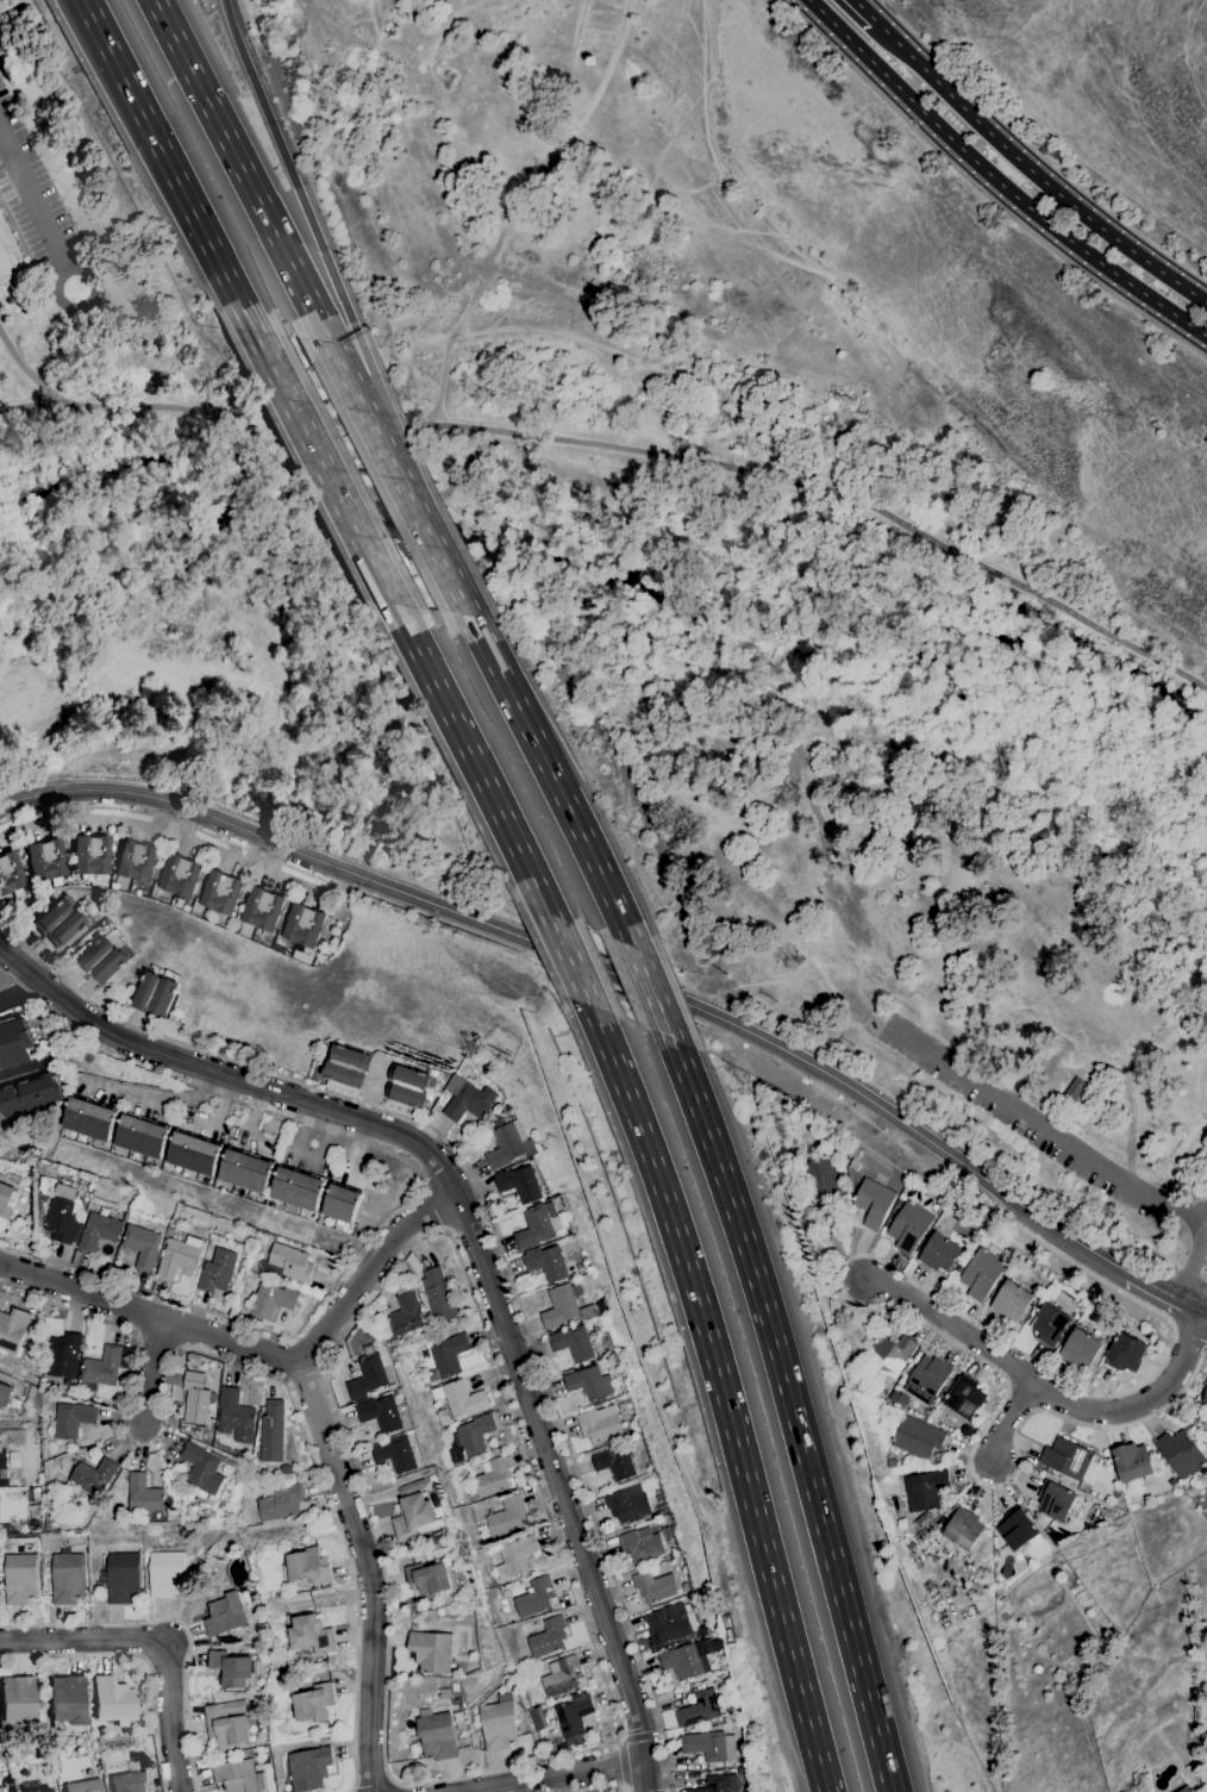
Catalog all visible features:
road: (868, 13)
road: (167, 166)
road: (243, 170)
road: (289, 173)
road: (1037, 174)
road: (998, 181)
parking lot: (43, 192)
road: (983, 192)
road: (14, 195)
road: (33, 198)
road: (83, 307)
road: (19, 355)
road: (351, 383)
road: (370, 383)
road: (630, 448)
road: (323, 467)
road: (420, 519)
park: (167, 526)
river: (649, 591)
road: (470, 758)
road: (554, 779)
building: (92, 856)
building: (136, 861)
building: (46, 862)
building: (11, 875)
building: (179, 875)
building: (148, 888)
building: (220, 892)
building: (261, 909)
building: (57, 923)
building: (302, 924)
road: (568, 959)
building: (102, 960)
road: (587, 964)
road: (651, 992)
road: (20, 994)
building: (155, 994)
building: (14, 1042)
building: (346, 1066)
building: (433, 1072)
road: (25, 1073)
building: (407, 1085)
building: (1075, 1087)
building: (30, 1095)
building: (468, 1099)
building: (89, 1117)
road: (1043, 1126)
building: (140, 1135)
building: (507, 1144)
building: (815, 1149)
building: (855, 1151)
building: (193, 1153)
building: (853, 1163)
building: (245, 1169)
building: (819, 1180)
building: (520, 1184)
building: (298, 1187)
road: (411, 1193)
building: (6, 1199)
building: (871, 1200)
building: (898, 1203)
building: (342, 1205)
road: (432, 1209)
building: (61, 1211)
road: (489, 1224)
building: (537, 1225)
building: (909, 1226)
building: (99, 1231)
road: (473, 1241)
building: (143, 1245)
building: (939, 1253)
building: (180, 1256)
building: (290, 1261)
road: (1189, 1261)
building: (548, 1263)
road: (1076, 1263)
building: (218, 1270)
building: (981, 1274)
road: (1162, 1292)
building: (438, 1294)
building: (271, 1300)
building: (1011, 1300)
building: (564, 1305)
building: (596, 1309)
road: (1205, 1310)
building: (404, 1315)
building: (1051, 1324)
building: (376, 1328)
building: (12, 1329)
building: (1108, 1338)
building: (575, 1343)
building: (1080, 1348)
road: (261, 1350)
building: (1125, 1351)
building: (423, 1354)
building: (63, 1355)
building: (446, 1356)
building: (887, 1357)
road: (240, 1366)
building: (104, 1367)
road: (152, 1370)
building: (367, 1376)
building: (927, 1378)
building: (589, 1381)
building: (1206, 1382)
road: (1046, 1387)
building: (30, 1391)
building: (396, 1391)
building: (878, 1393)
building: (5, 1394)
road: (723, 1394)
building: (893, 1395)
building: (964, 1397)
building: (1205, 1397)
building: (195, 1398)
building: (463, 1399)
road: (790, 1411)
building: (381, 1413)
building: (236, 1416)
road: (1007, 1418)
building: (71, 1419)
building: (1196, 1419)
building: (600, 1426)
building: (271, 1431)
building: (475, 1435)
building: (915, 1436)
building: (1180, 1453)
building: (395, 1454)
building: (2, 1457)
building: (1069, 1460)
building: (1132, 1461)
building: (614, 1462)
building: (890, 1462)
building: (205, 1467)
building: (90, 1476)
building: (492, 1476)
building: (4, 1480)
building: (925, 1488)
building: (145, 1493)
building: (1115, 1494)
building: (470, 1496)
building: (281, 1501)
building: (1055, 1501)
building: (627, 1504)
building: (662, 1507)
building: (1105, 1513)
building: (413, 1516)
building: (507, 1516)
building: (924, 1519)
building: (6, 1528)
building: (963, 1528)
building: (1017, 1528)
building: (667, 1532)
building: (71, 1541)
building: (640, 1544)
building: (995, 1553)
building: (514, 1555)
building: (306, 1567)
building: (165, 1573)
road: (368, 1573)
building: (123, 1576)
building: (68, 1578)
building: (20, 1579)
building: (427, 1579)
building: (655, 1586)
building: (686, 1586)
building: (534, 1597)
building: (432, 1601)
building: (225, 1615)
road: (175, 1621)
building: (669, 1622)
building: (309, 1634)
building: (548, 1637)
road: (157, 1641)
building: (431, 1651)
road: (139, 1657)
building: (682, 1660)
building: (232, 1668)
building: (561, 1675)
building: (17, 1702)
building: (67, 1702)
building: (112, 1702)
building: (313, 1703)
road: (612, 1705)
building: (702, 1707)
building: (573, 1716)
building: (227, 1722)
building: (499, 1723)
building: (434, 1735)
road: (639, 1740)
building: (709, 1746)
building: (265, 1759)
road: (619, 1763)
building: (308, 1767)
building: (239, 1777)
road: (552, 1777)
road: (373, 1778)
building: (130, 1781)
building: (713, 1784)
building: (6, 1785)
building: (85, 1786)
road: (603, 1787)
road: (402, 1788)
building: (1186, 1788)
building: (42, 1790)

